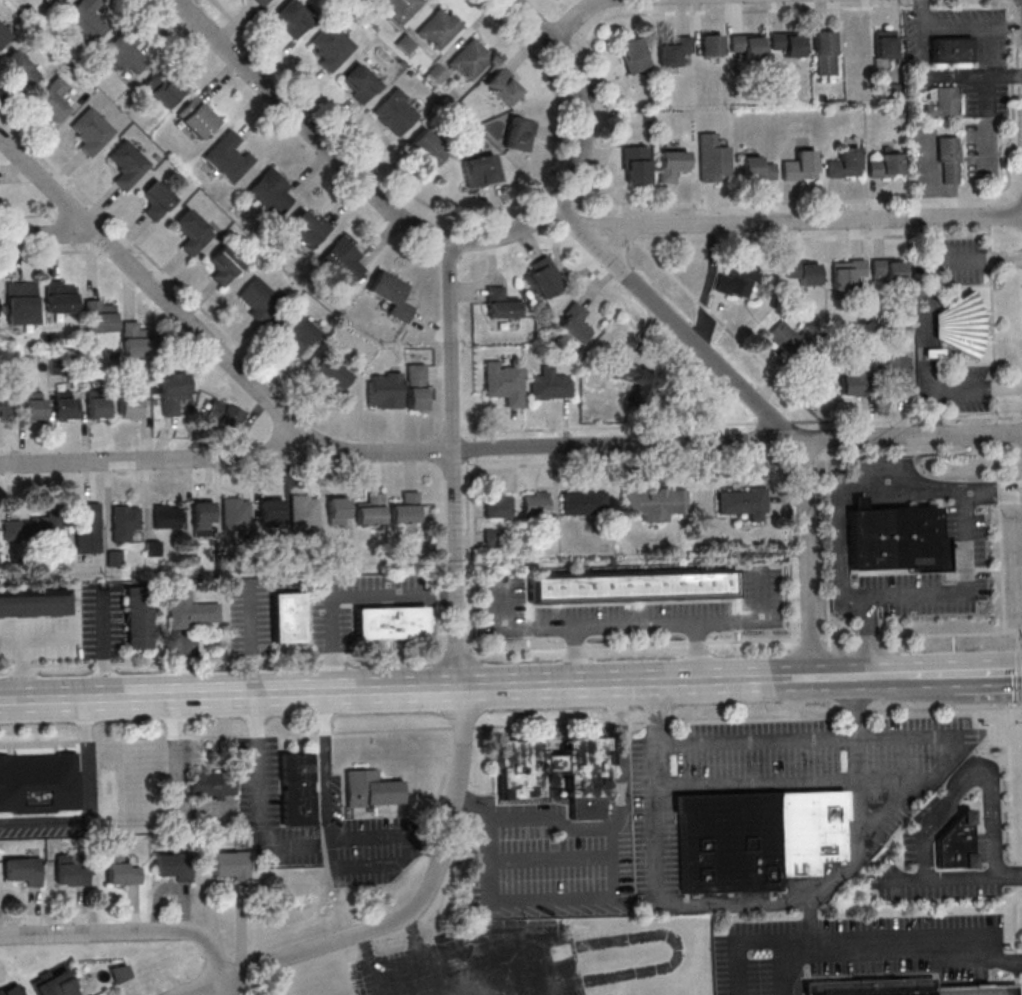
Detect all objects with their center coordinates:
building: (56, 1)
building: (260, 2)
road: (978, 4)
road: (921, 6)
building: (400, 7)
road: (920, 14)
road: (578, 15)
building: (292, 17)
building: (83, 22)
road: (972, 26)
road: (1012, 26)
road: (504, 27)
building: (440, 30)
building: (3, 36)
building: (712, 44)
building: (786, 44)
building: (854, 44)
building: (884, 44)
building: (330, 45)
building: (746, 46)
building: (951, 49)
road: (1012, 49)
building: (674, 50)
building: (824, 53)
building: (122, 54)
building: (634, 55)
building: (470, 60)
building: (18, 70)
building: (437, 73)
road: (1012, 74)
road: (947, 77)
building: (359, 85)
building: (161, 87)
building: (504, 87)
road: (583, 94)
building: (50, 99)
building: (941, 101)
road: (318, 104)
building: (394, 111)
building: (196, 118)
road: (986, 124)
building: (92, 130)
building: (520, 134)
road: (609, 148)
road: (1007, 149)
building: (425, 151)
building: (712, 157)
building: (227, 158)
building: (948, 160)
building: (126, 163)
building: (844, 163)
building: (635, 164)
building: (672, 165)
building: (800, 166)
building: (886, 166)
road: (346, 167)
building: (756, 168)
building: (480, 170)
building: (272, 189)
building: (155, 200)
road: (989, 214)
road: (803, 221)
building: (307, 228)
building: (191, 231)
road: (47, 234)
road: (810, 237)
building: (339, 262)
building: (223, 265)
building: (887, 270)
building: (803, 272)
building: (846, 273)
building: (544, 277)
building: (737, 280)
building: (391, 295)
road: (925, 295)
building: (58, 297)
road: (162, 298)
building: (257, 299)
building: (20, 303)
building: (501, 303)
building: (97, 316)
building: (962, 322)
building: (573, 323)
road: (992, 323)
road: (729, 330)
building: (295, 334)
building: (134, 340)
building: (787, 340)
building: (334, 373)
building: (895, 376)
building: (636, 381)
building: (850, 381)
building: (504, 383)
building: (550, 384)
building: (415, 386)
road: (974, 388)
building: (384, 390)
building: (172, 392)
building: (6, 406)
building: (34, 406)
building: (65, 406)
building: (97, 407)
building: (129, 408)
road: (762, 410)
building: (224, 415)
road: (894, 417)
road: (776, 422)
road: (929, 430)
road: (997, 432)
road: (511, 448)
road: (910, 454)
road: (997, 465)
road: (483, 466)
road: (870, 487)
road: (998, 492)
road: (994, 498)
building: (654, 501)
building: (582, 502)
building: (742, 502)
building: (534, 503)
building: (497, 506)
building: (405, 508)
building: (370, 509)
building: (337, 510)
building: (269, 512)
building: (303, 513)
building: (235, 514)
building: (166, 516)
building: (202, 518)
building: (122, 522)
building: (44, 527)
building: (87, 527)
building: (11, 530)
building: (893, 538)
road: (826, 549)
building: (114, 558)
road: (1001, 568)
road: (455, 580)
building: (631, 586)
road: (964, 593)
road: (345, 595)
building: (34, 603)
building: (191, 610)
building: (287, 617)
building: (138, 618)
building: (390, 622)
road: (922, 635)
road: (868, 637)
road: (1017, 639)
road: (250, 642)
road: (397, 651)
road: (991, 673)
road: (935, 676)
road: (886, 677)
road: (1019, 677)
road: (431, 690)
road: (941, 709)
road: (854, 712)
road: (755, 716)
road: (655, 720)
road: (323, 731)
road: (805, 741)
road: (88, 751)
road: (619, 756)
road: (178, 769)
building: (40, 783)
road: (794, 783)
building: (211, 784)
building: (519, 784)
road: (1010, 786)
building: (296, 789)
building: (369, 789)
road: (912, 794)
road: (259, 797)
road: (945, 800)
road: (855, 817)
road: (329, 823)
road: (49, 824)
building: (758, 836)
building: (955, 842)
building: (231, 865)
building: (172, 866)
road: (661, 869)
building: (22, 870)
building: (122, 870)
building: (70, 871)
road: (1009, 875)
road: (1014, 876)
road: (594, 898)
road: (1015, 920)
road: (125, 934)
road: (866, 936)
road: (318, 948)
road: (414, 955)
road: (894, 957)
road: (996, 960)
road: (1017, 963)
road: (369, 964)
road: (784, 967)
road: (738, 968)
building: (121, 973)
building: (55, 983)
road: (1017, 984)
road: (203, 987)
road: (224, 987)
building: (896, 987)
building: (11, 990)

